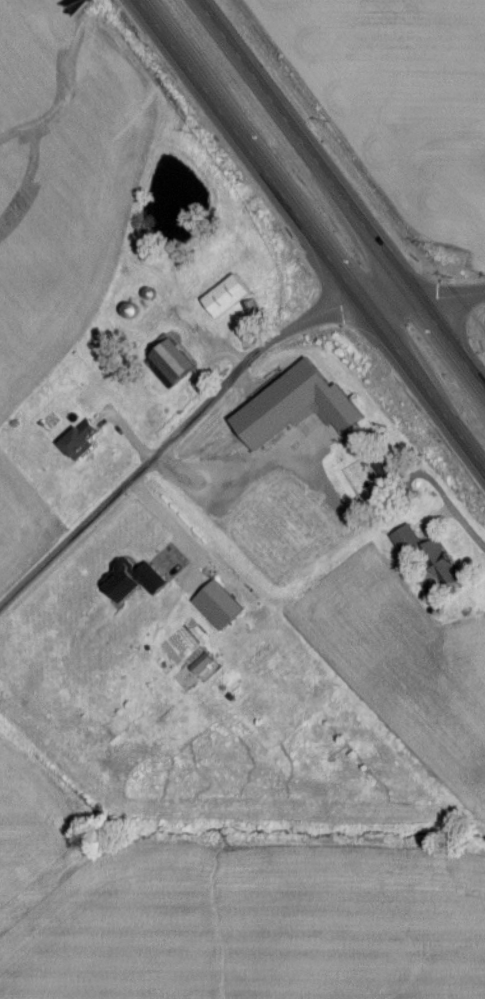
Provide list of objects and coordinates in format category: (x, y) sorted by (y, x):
road: (344, 191)
road: (315, 230)
road: (453, 294)
building: (222, 298)
road: (395, 300)
building: (333, 409)
road: (176, 440)
building: (381, 464)
road: (236, 476)
road: (167, 518)
road: (470, 529)
building: (215, 607)

